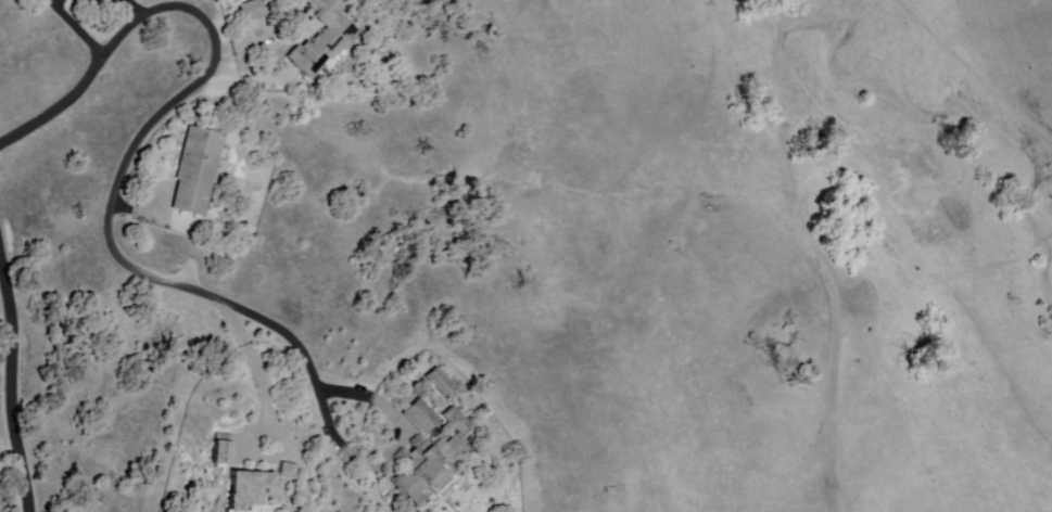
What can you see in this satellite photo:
building: (251, 10)
road: (79, 28)
building: (325, 38)
road: (205, 78)
building: (199, 169)
road: (819, 255)
road: (262, 374)
road: (15, 382)
building: (438, 383)
building: (422, 418)
road: (341, 444)
building: (220, 451)
building: (435, 459)
building: (288, 472)
building: (248, 490)

